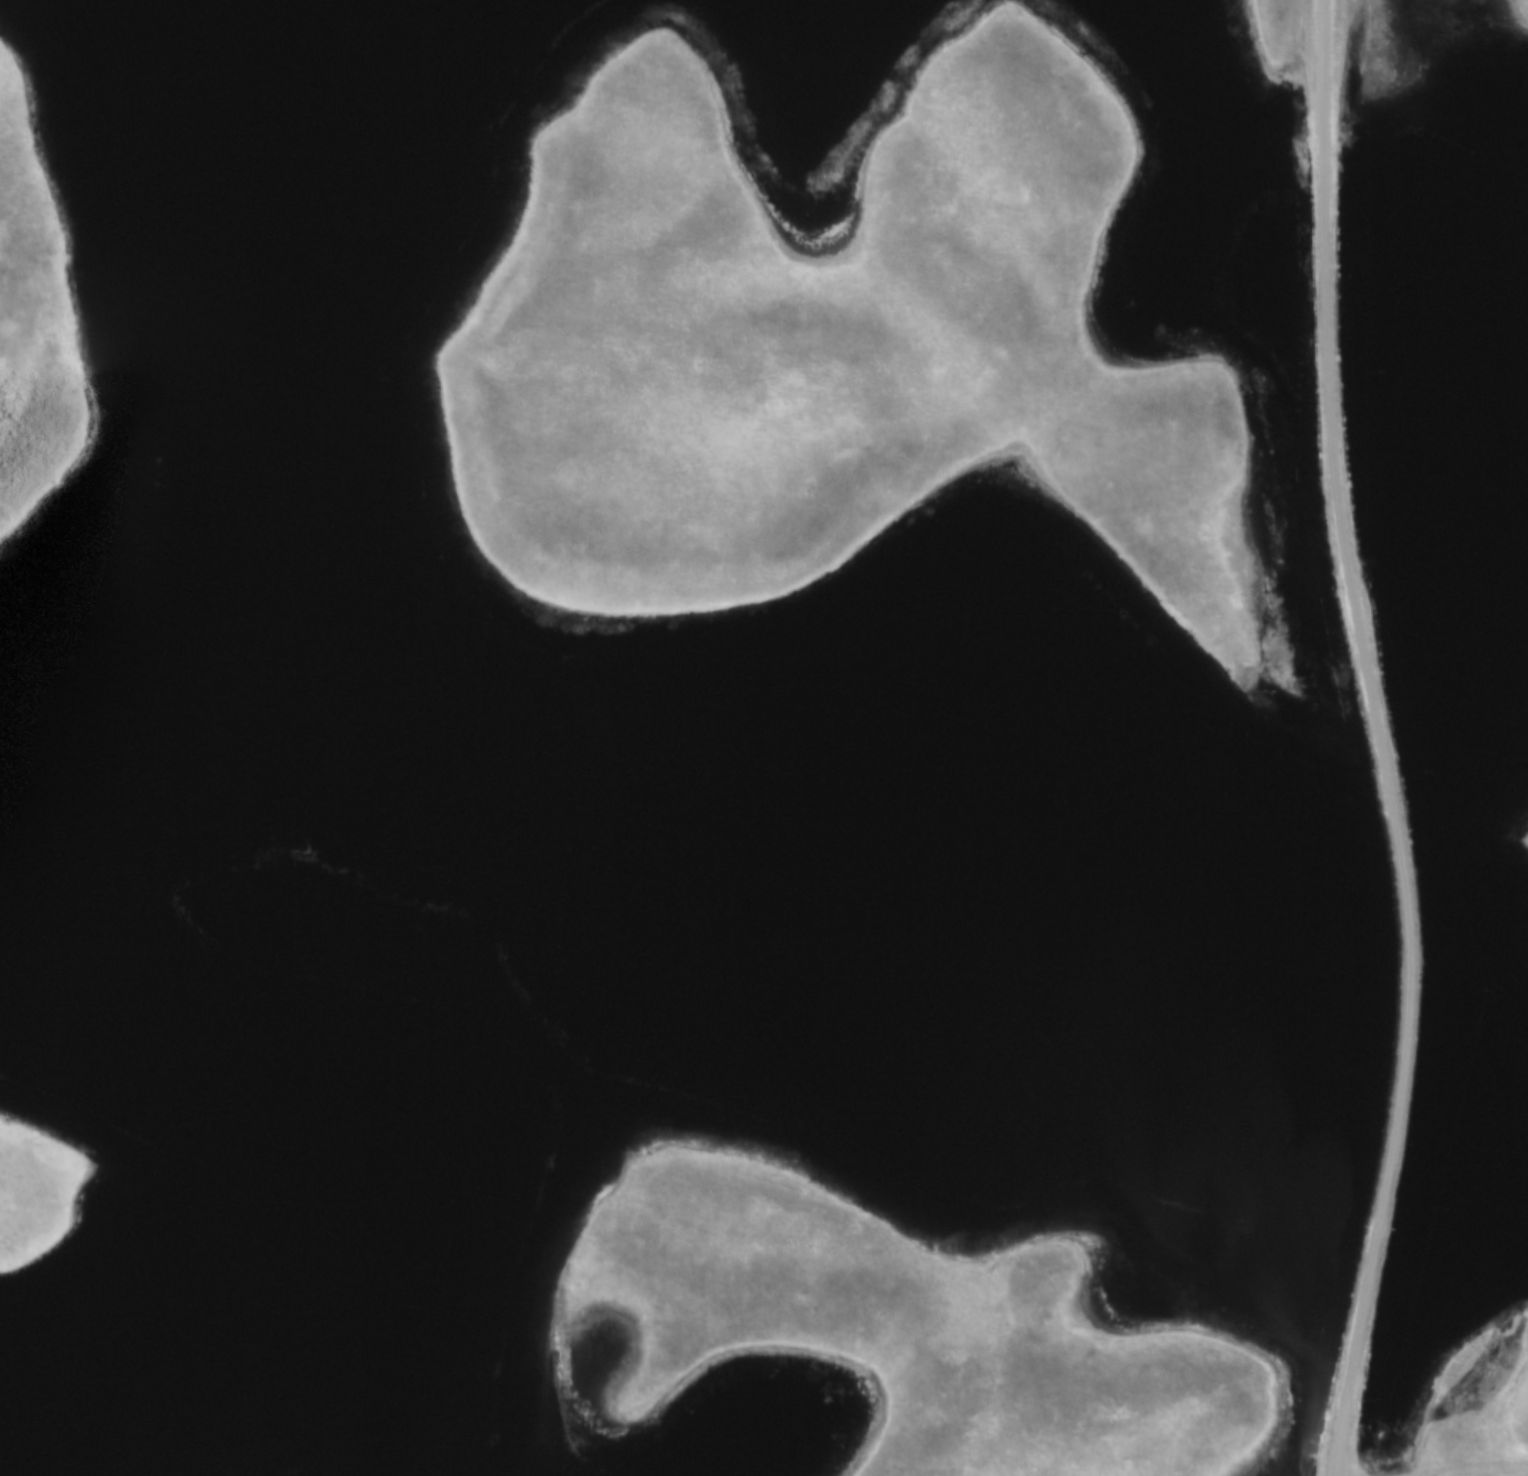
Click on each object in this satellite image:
road: (1379, 740)

